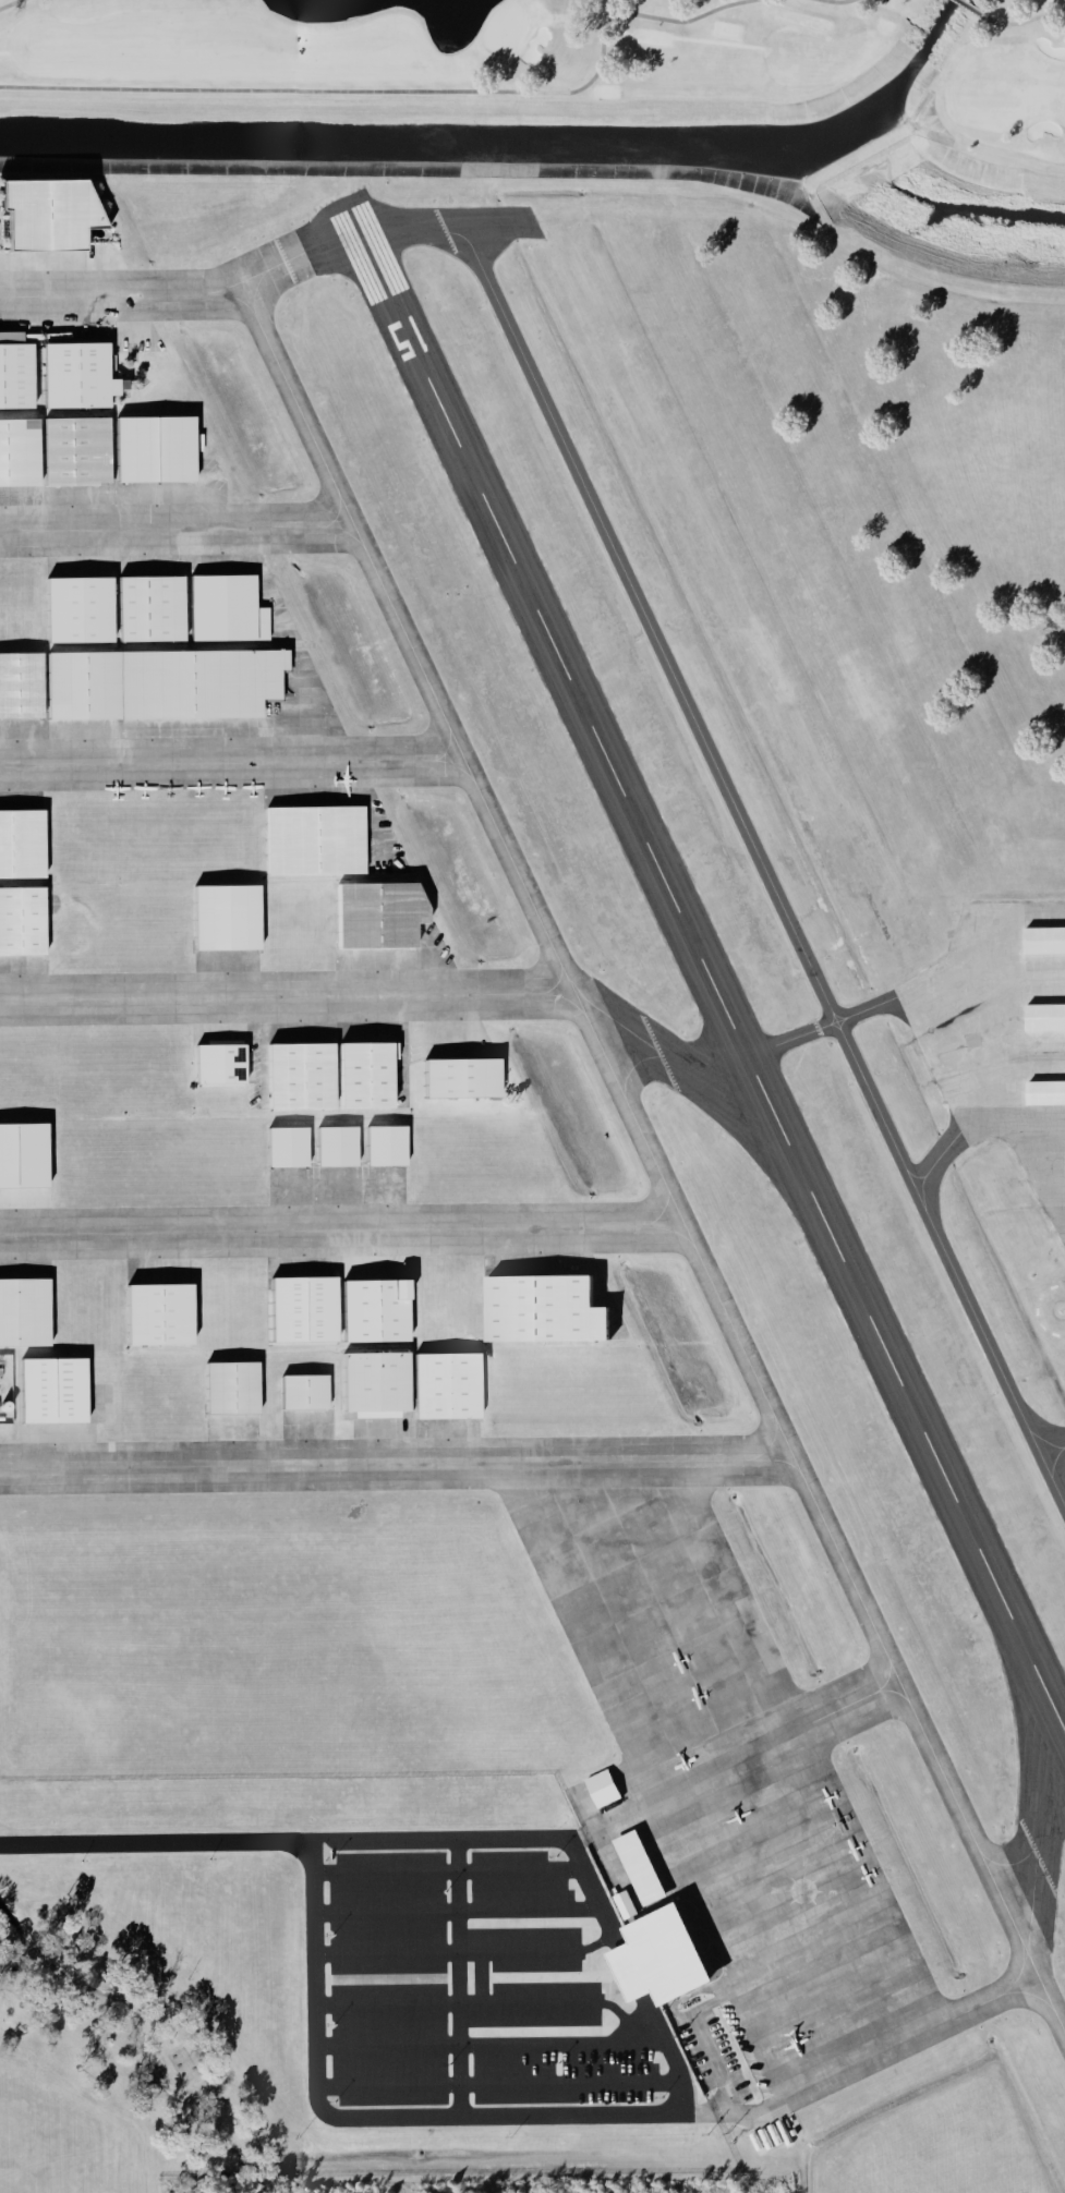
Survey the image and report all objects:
park: (576, 58)
park: (569, 62)
building: (46, 213)
airport taxiway: (353, 256)
airport taxiway: (69, 294)
road: (69, 294)
airport taxiway: (232, 295)
building: (14, 374)
building: (74, 374)
building: (152, 448)
building: (73, 449)
building: (17, 451)
airport taxiway: (308, 525)
airport taxiway: (124, 528)
road: (124, 528)
airport taxiway: (346, 531)
building: (147, 607)
building: (222, 608)
building: (74, 609)
building: (159, 682)
building: (20, 684)
airport taxiway: (417, 760)
airport taxiway: (179, 762)
road: (179, 762)
airport taxiway: (457, 766)
building: (312, 838)
building: (20, 841)
airport taxiway: (754, 855)
building: (375, 913)
building: (222, 916)
building: (21, 919)
building: (1043, 938)
airport taxiway: (692, 945)
airport runway: (703, 966)
airport taxiway: (525, 992)
airport taxiway: (234, 995)
road: (234, 995)
airport taxiway: (564, 997)
airport taxiway: (835, 1013)
building: (1043, 1015)
airport taxiway: (824, 1017)
airport taxiway: (840, 1022)
airport taxiway: (831, 1026)
airport apron: (1001, 1037)
airport taxiway: (634, 1061)
building: (216, 1063)
building: (362, 1074)
building: (296, 1075)
building: (458, 1077)
building: (1044, 1091)
airport taxiway: (627, 1106)
airport taxiway: (777, 1119)
building: (334, 1144)
building: (384, 1144)
building: (285, 1146)
building: (22, 1153)
airport taxiway: (932, 1161)
building: (1064, 1166)
airport taxiway: (915, 1172)
airport taxiway: (798, 1177)
airport: (525, 1195)
airport taxiway: (656, 1213)
airport taxiway: (640, 1225)
airport taxiway: (289, 1228)
road: (289, 1228)
building: (300, 1308)
building: (540, 1308)
building: (375, 1310)
building: (23, 1311)
building: (155, 1312)
building: (372, 1381)
building: (444, 1384)
building: (229, 1386)
building: (49, 1390)
building: (301, 1391)
airport taxiway: (1037, 1432)
airport taxiway: (769, 1441)
airport taxiway: (644, 1459)
airport taxiway: (1051, 1464)
airport taxiway: (242, 1465)
road: (242, 1465)
airport taxiway: (885, 1677)
airport taxiway: (1043, 1688)
airport taxiway: (859, 1697)
airport taxiway: (1043, 1734)
airport apron: (730, 1784)
building: (602, 1788)
airport taxiway: (1045, 1804)
road: (607, 1822)
road: (291, 1840)
airport taxiway: (1016, 1859)
building: (639, 1867)
road: (446, 1868)
building: (625, 1903)
road: (456, 1910)
road: (396, 1950)
airport terminal: (667, 1951)
building: (667, 1951)
airport taxiway: (1019, 1967)
building: (628, 1968)
road: (630, 1972)
road: (457, 1976)
parking lot: (472, 1984)
road: (480, 1990)
airport taxiway: (1028, 1992)
road: (396, 2001)
airport taxiway: (1060, 2023)
road: (486, 2041)
road: (712, 2060)
road: (496, 2085)
road: (742, 2110)
road: (378, 2116)

